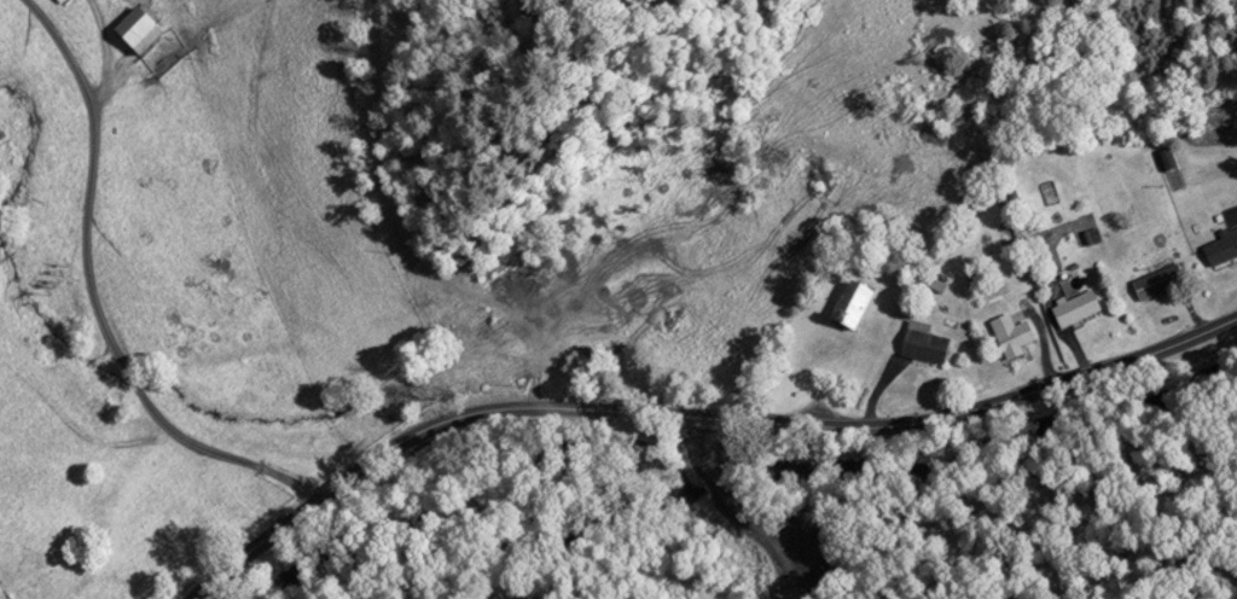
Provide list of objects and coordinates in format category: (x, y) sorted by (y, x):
building: (1223, 246)
building: (1152, 285)
road: (87, 296)
building: (853, 304)
building: (1076, 309)
building: (1016, 337)
building: (924, 343)
road: (701, 419)

